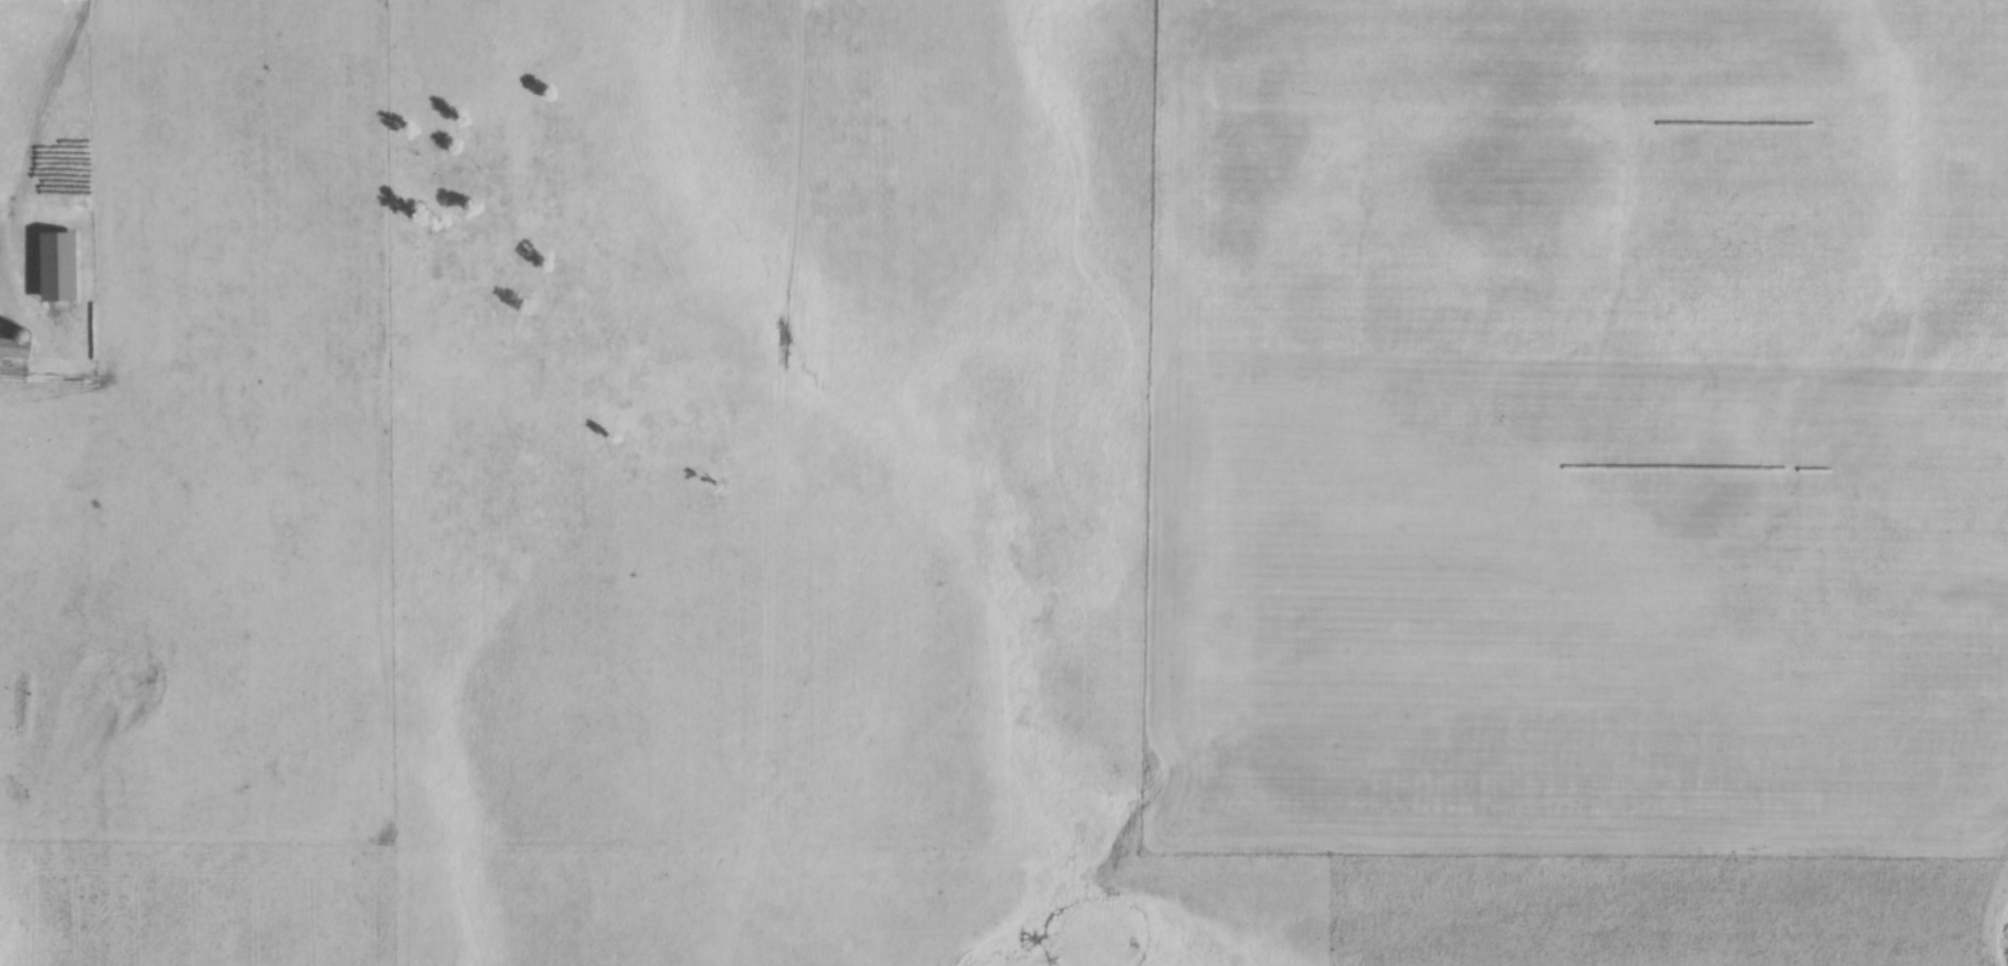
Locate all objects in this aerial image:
road: (59, 75)
building: (54, 268)
building: (13, 345)

